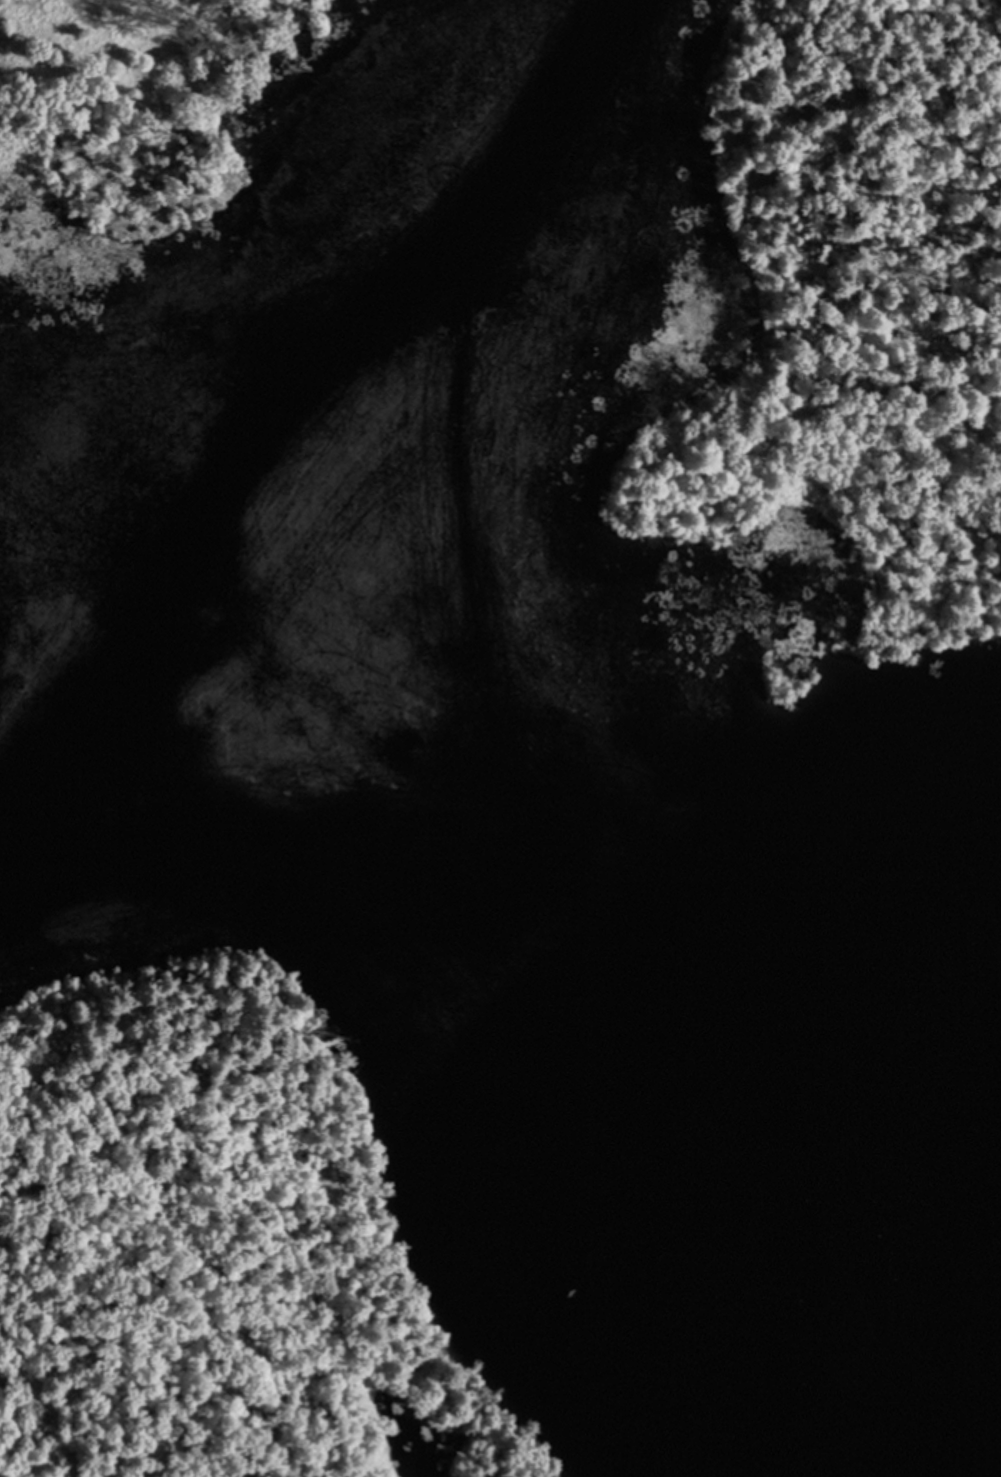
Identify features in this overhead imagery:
river: (979, 1456)

